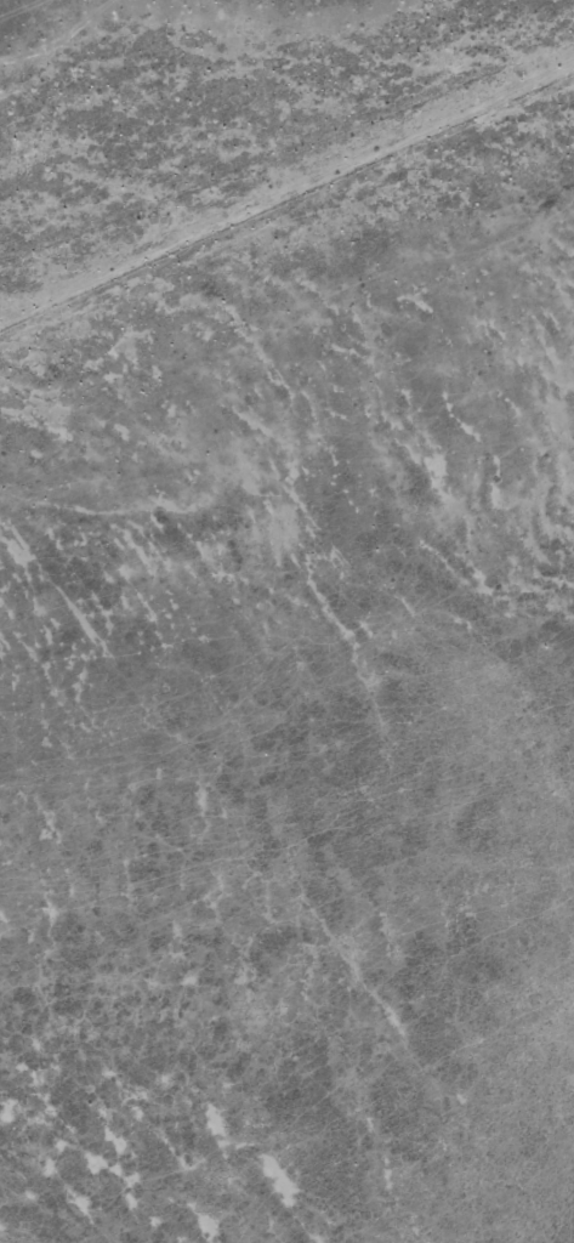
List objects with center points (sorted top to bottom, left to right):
road: (286, 300)

